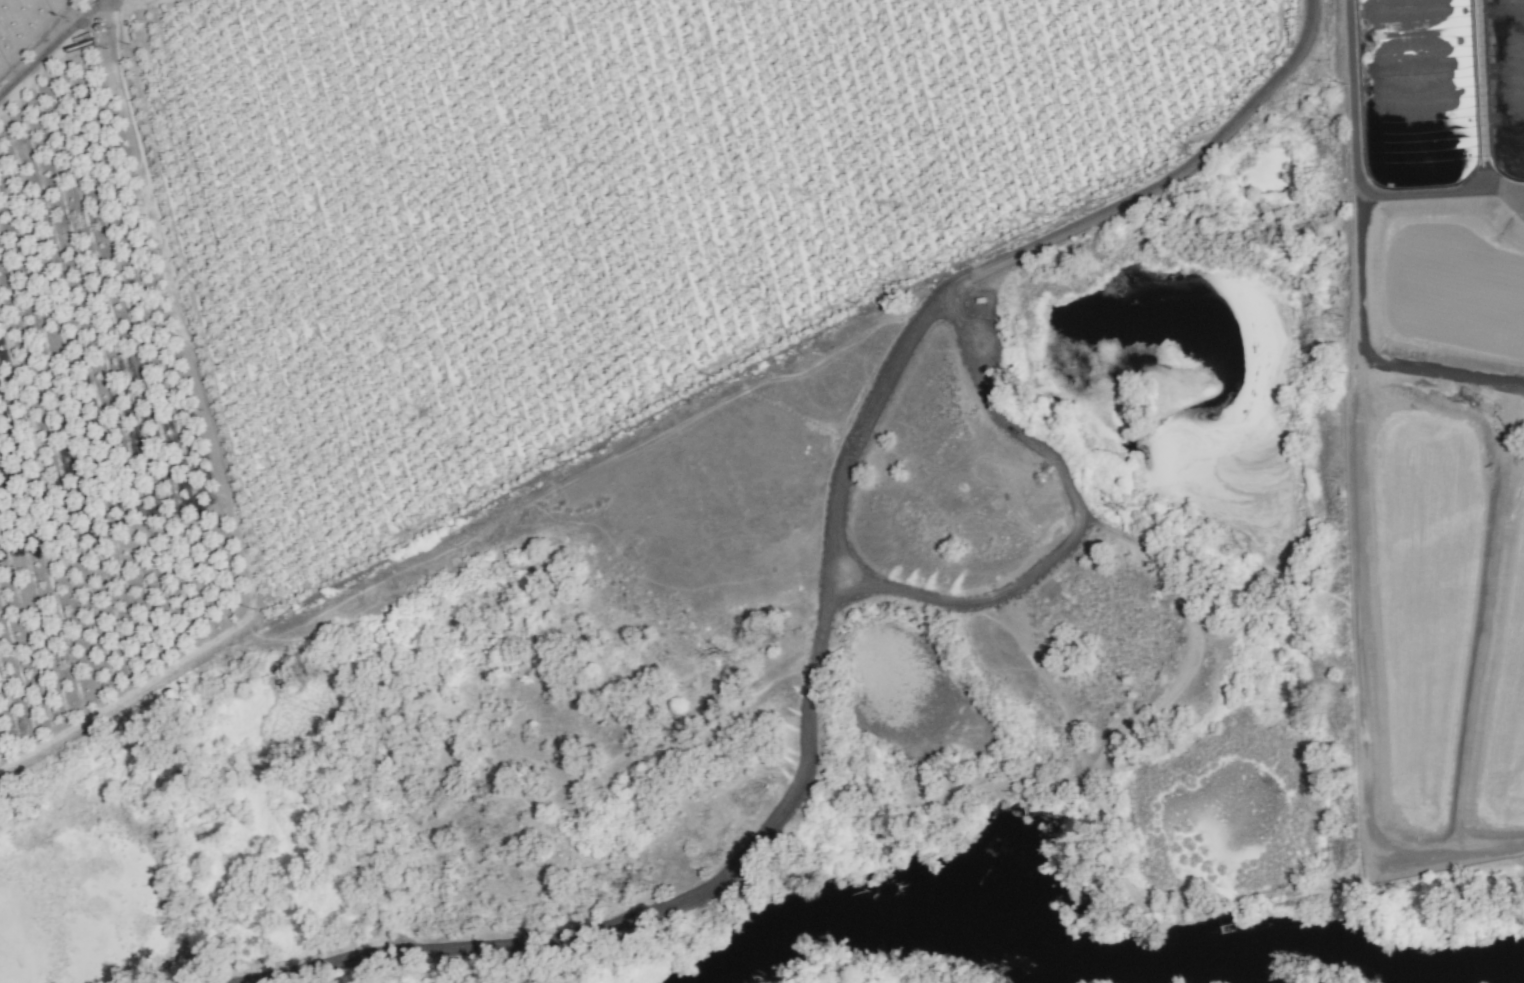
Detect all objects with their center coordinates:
road: (1350, 35)
road: (48, 45)
road: (1030, 245)
crop: (488, 260)
road: (1079, 528)
river: (1104, 947)

